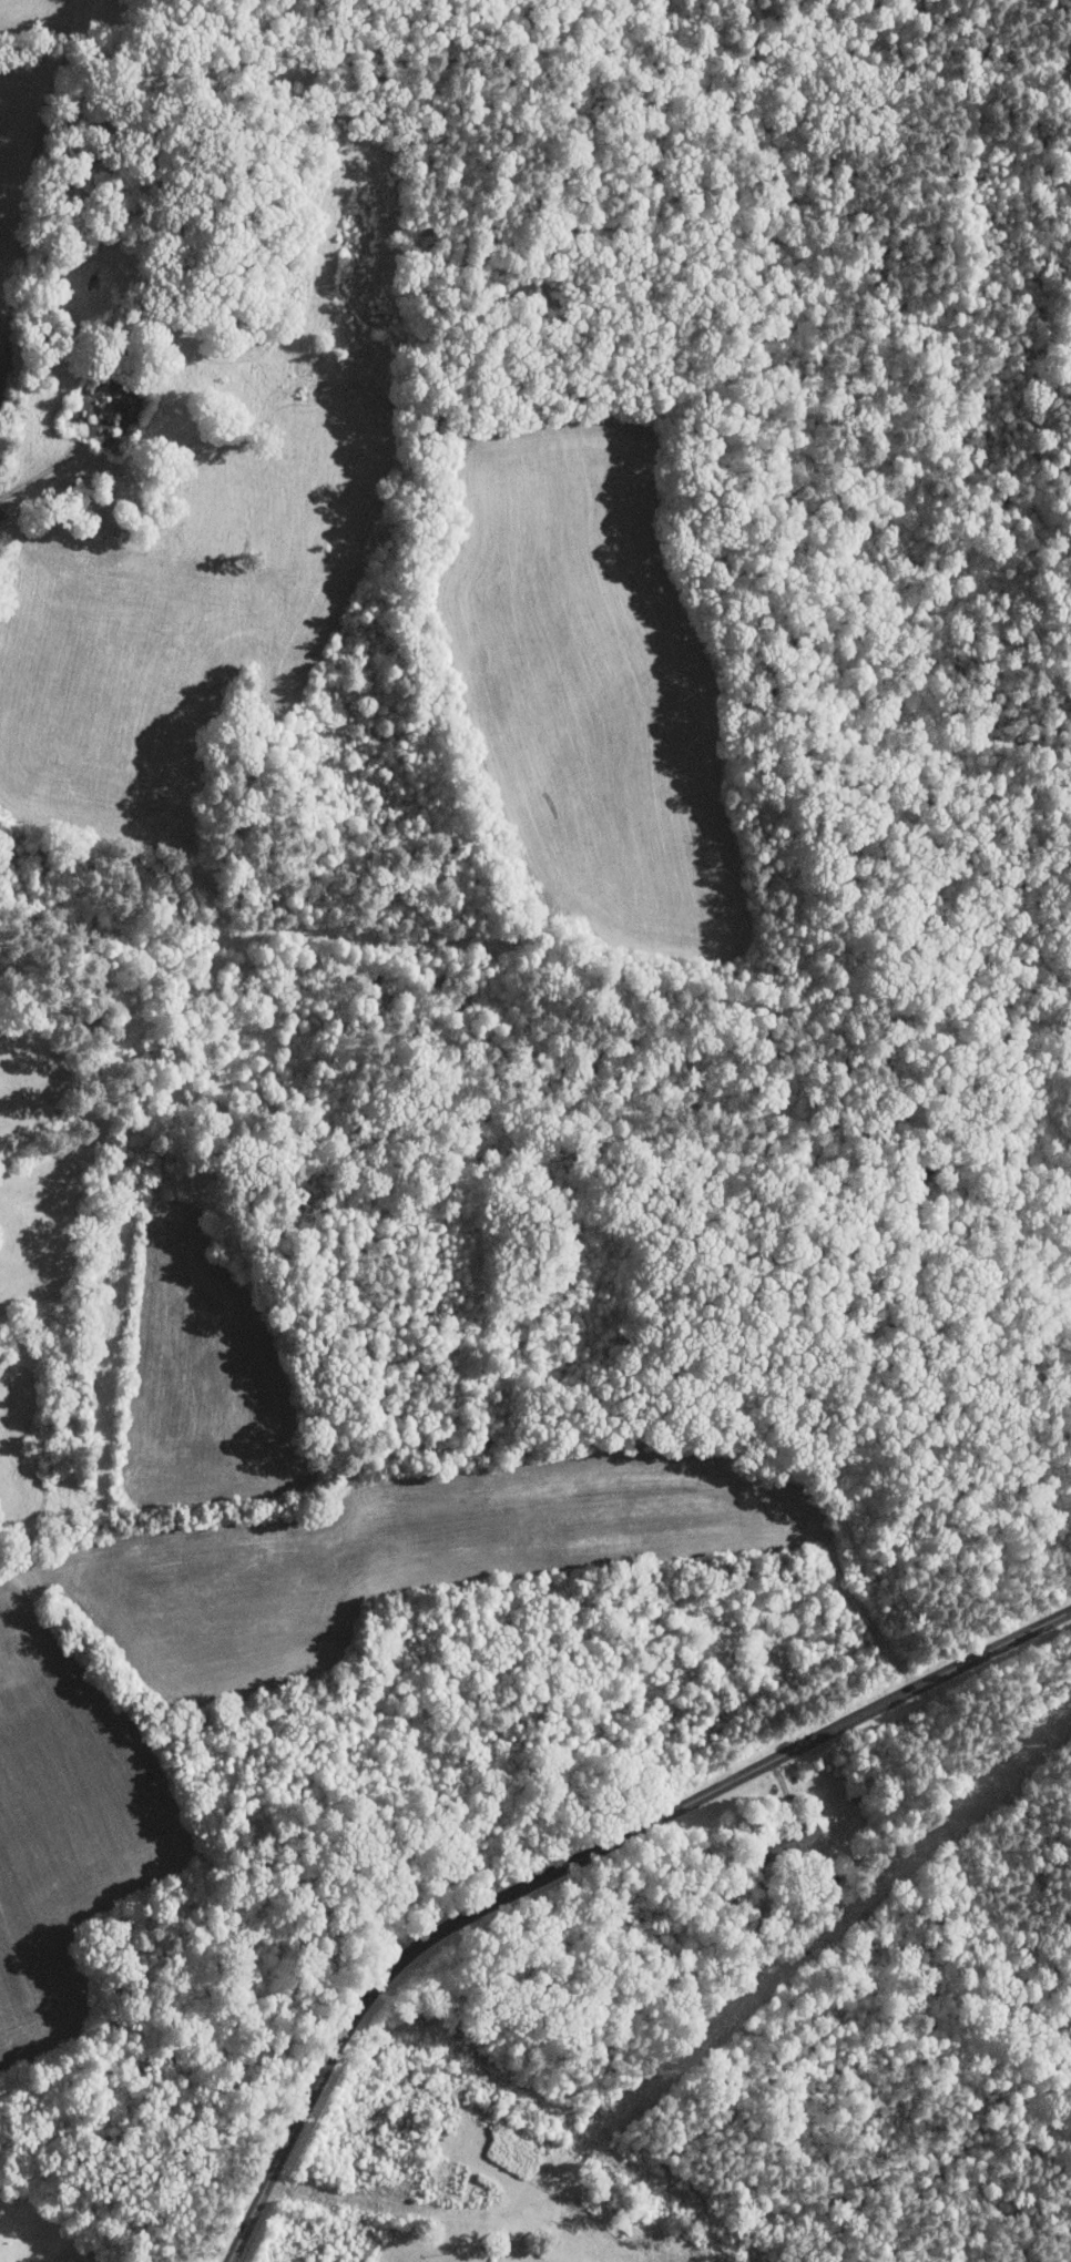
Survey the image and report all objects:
road: (7, 492)
building: (800, 1836)
road: (578, 1861)

